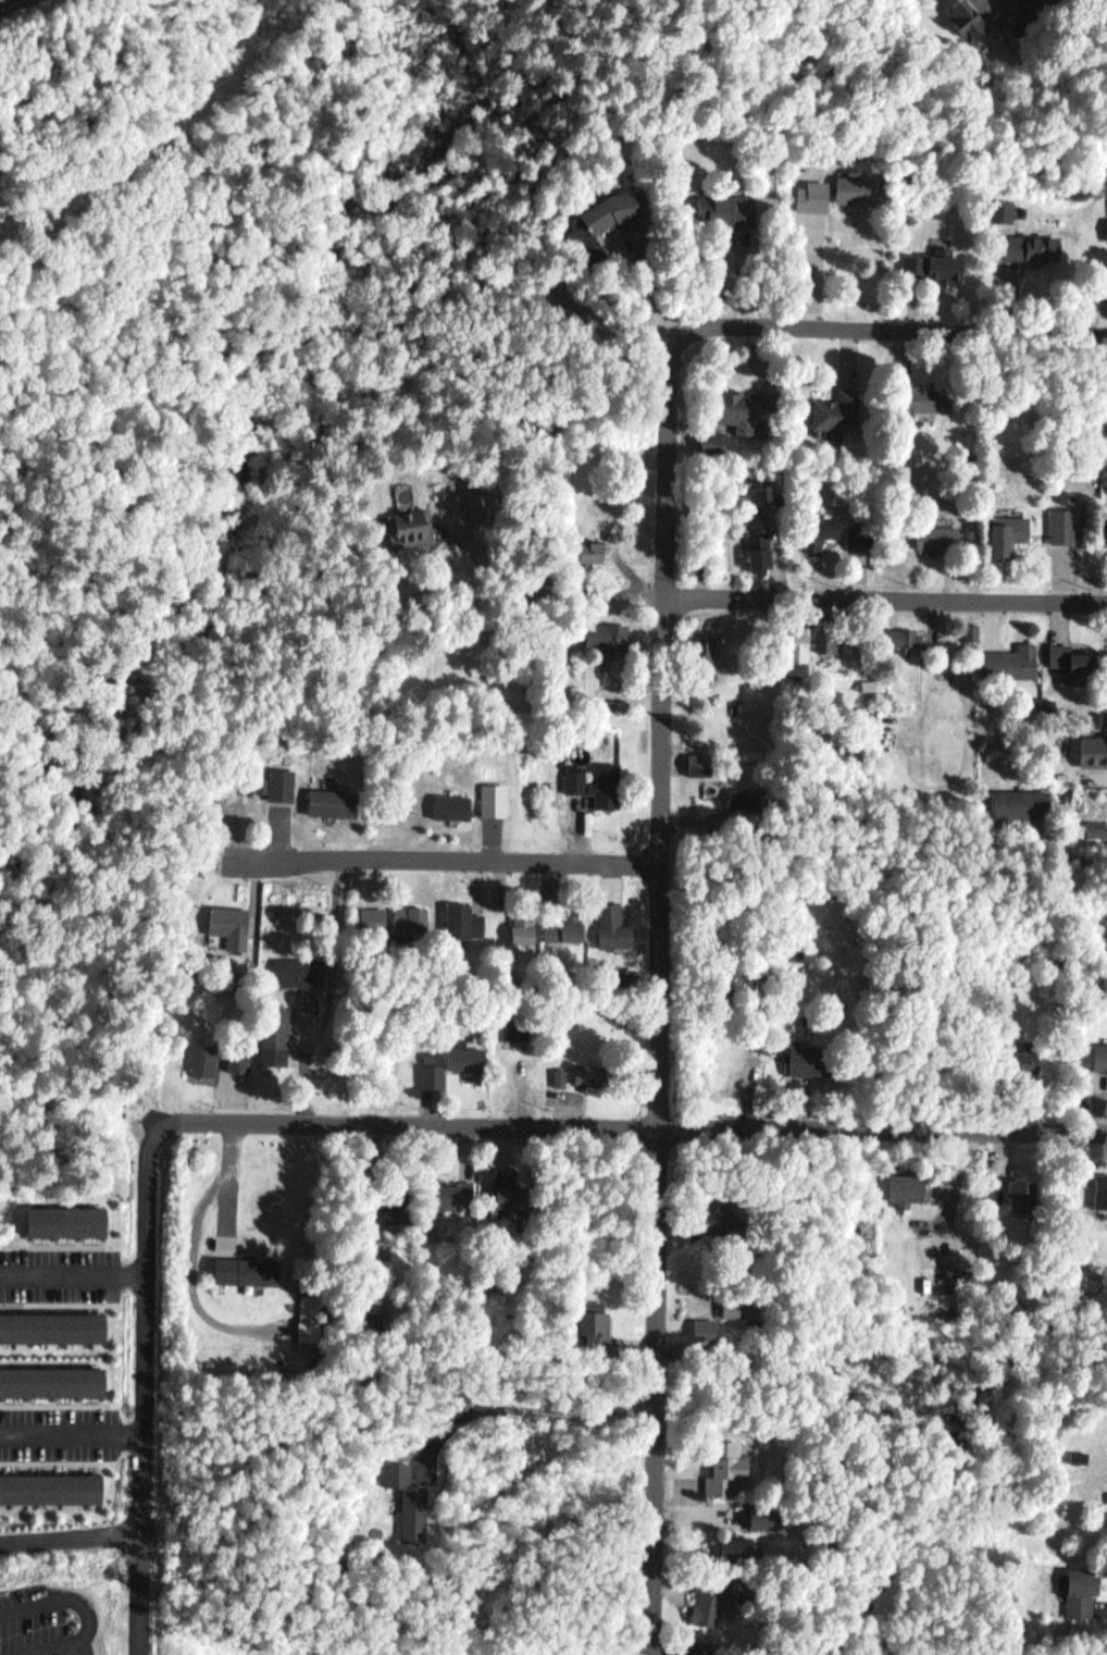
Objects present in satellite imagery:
building: (1027, 4)
building: (972, 14)
building: (1024, 14)
building: (849, 181)
building: (810, 189)
building: (725, 201)
building: (614, 202)
building: (1002, 205)
building: (1031, 239)
building: (934, 258)
road: (895, 329)
building: (924, 390)
building: (745, 402)
building: (839, 404)
building: (711, 431)
building: (474, 497)
building: (1071, 511)
building: (407, 521)
building: (1006, 522)
building: (820, 523)
building: (937, 530)
building: (863, 535)
building: (590, 545)
building: (760, 546)
road: (718, 596)
building: (606, 632)
building: (971, 633)
building: (901, 634)
building: (829, 643)
building: (706, 647)
building: (801, 649)
building: (1077, 653)
building: (1011, 656)
building: (610, 692)
building: (700, 757)
building: (577, 769)
building: (276, 778)
building: (607, 778)
building: (494, 792)
building: (743, 793)
building: (329, 795)
building: (1022, 795)
building: (451, 799)
building: (1096, 822)
road: (445, 855)
building: (226, 913)
building: (373, 913)
building: (410, 917)
building: (463, 917)
building: (519, 918)
building: (612, 922)
building: (556, 926)
building: (804, 950)
building: (299, 964)
road: (664, 987)
building: (515, 1022)
building: (273, 1028)
building: (805, 1051)
building: (1098, 1051)
building: (202, 1052)
building: (238, 1052)
building: (463, 1053)
building: (1019, 1054)
building: (575, 1066)
building: (432, 1070)
building: (585, 1074)
road: (663, 1124)
building: (905, 1180)
building: (1099, 1183)
building: (506, 1184)
building: (446, 1189)
building: (1018, 1194)
building: (388, 1199)
building: (714, 1215)
building: (64, 1216)
building: (247, 1262)
parking lot: (61, 1267)
road: (75, 1267)
building: (735, 1311)
building: (308, 1312)
building: (590, 1316)
building: (50, 1320)
road: (148, 1370)
building: (50, 1375)
road: (521, 1407)
parking lot: (62, 1423)
road: (73, 1425)
building: (1078, 1449)
building: (721, 1462)
building: (50, 1480)
building: (406, 1495)
building: (762, 1509)
building: (1102, 1519)
building: (762, 1522)
building: (1103, 1529)
building: (731, 1546)
building: (1080, 1586)
road: (142, 1592)
building: (708, 1602)

